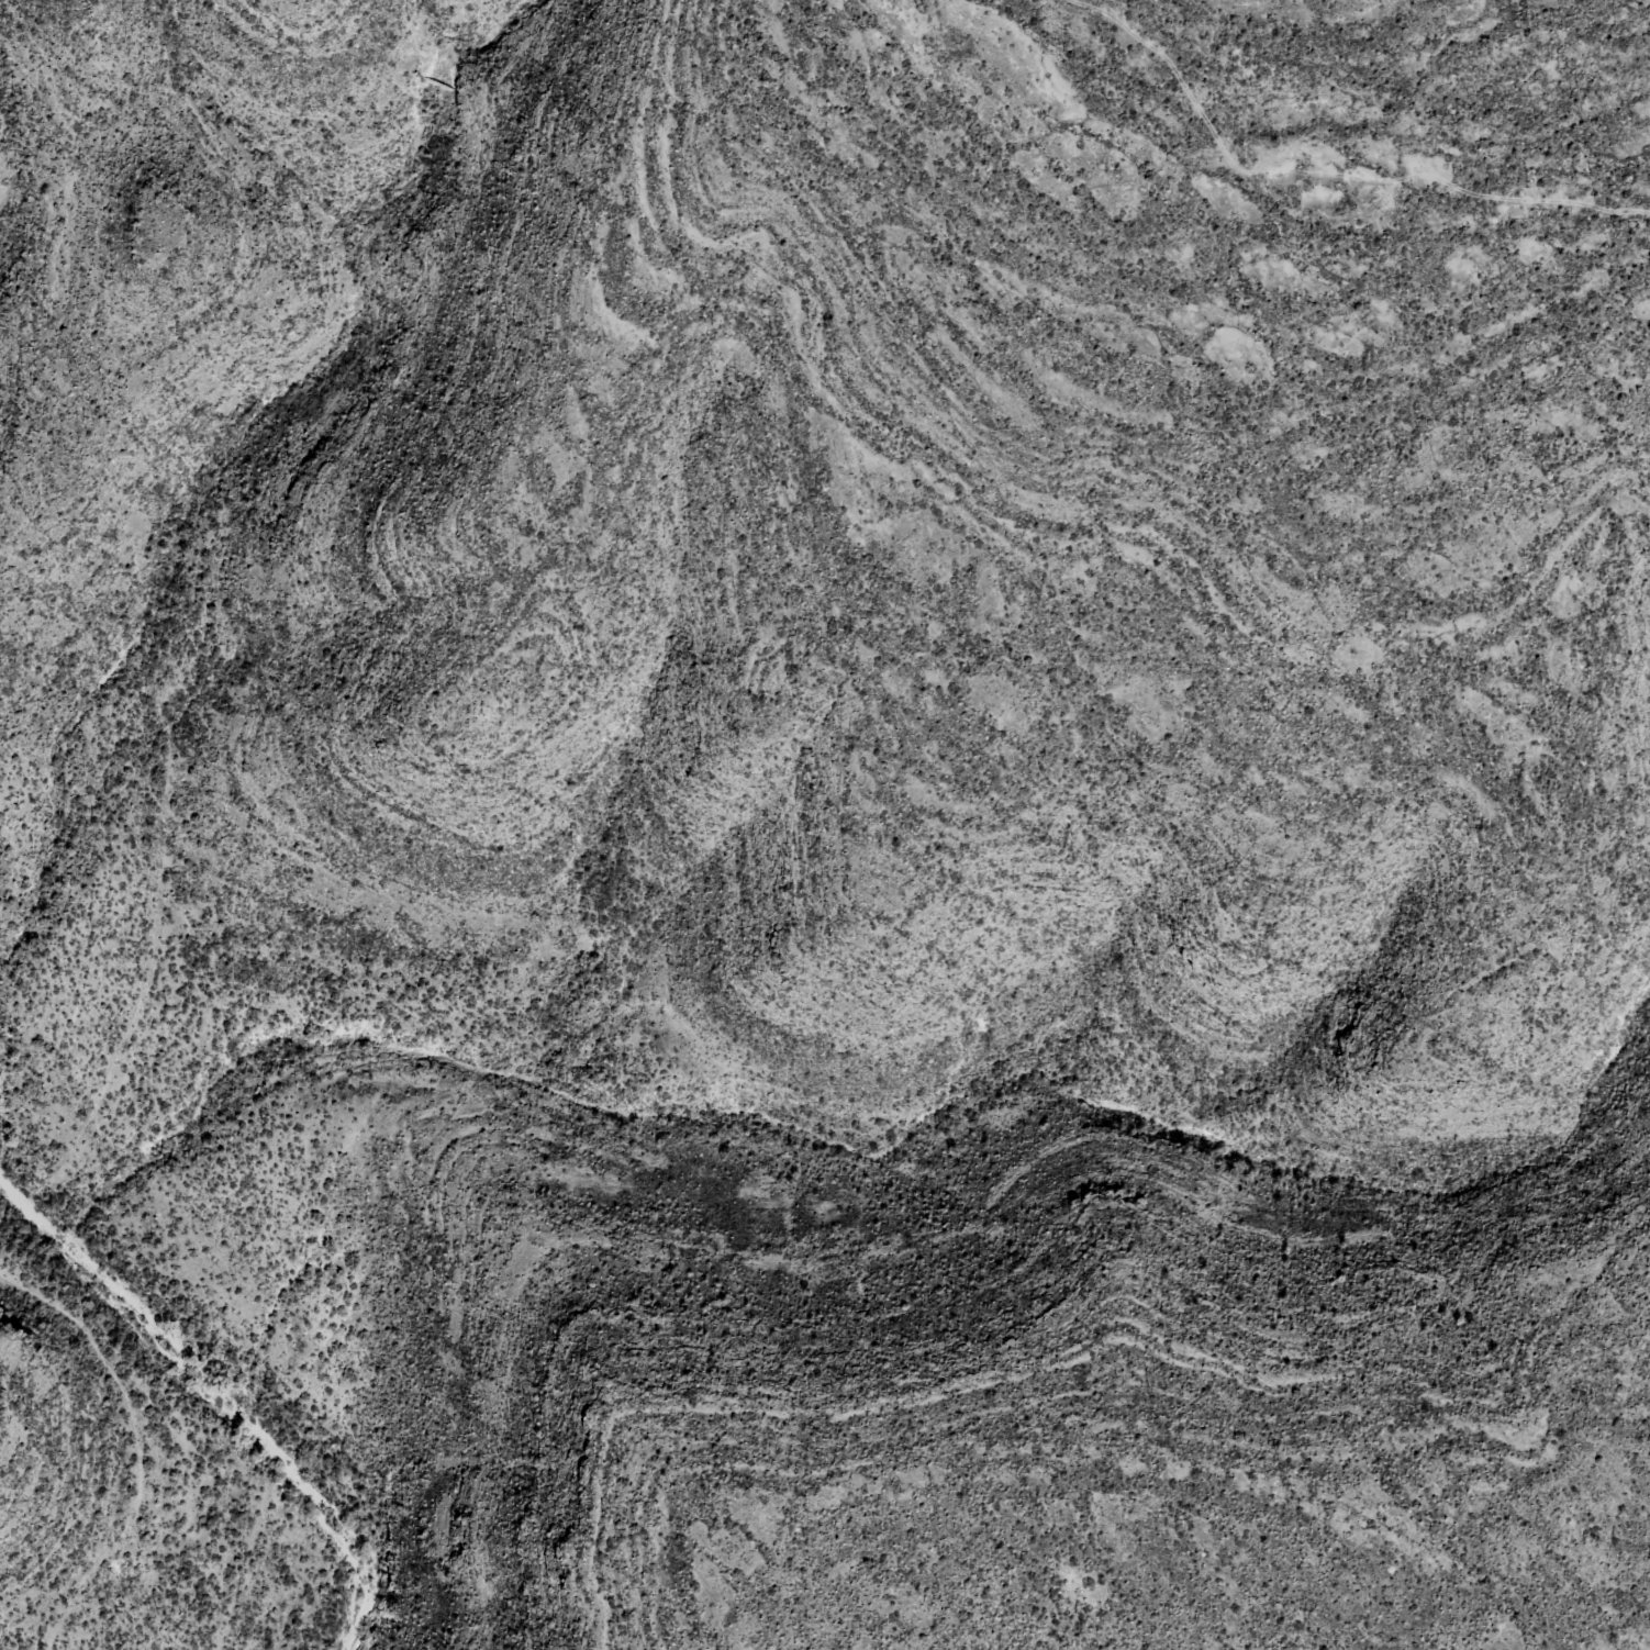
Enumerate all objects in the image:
road: (1581, 1505)

